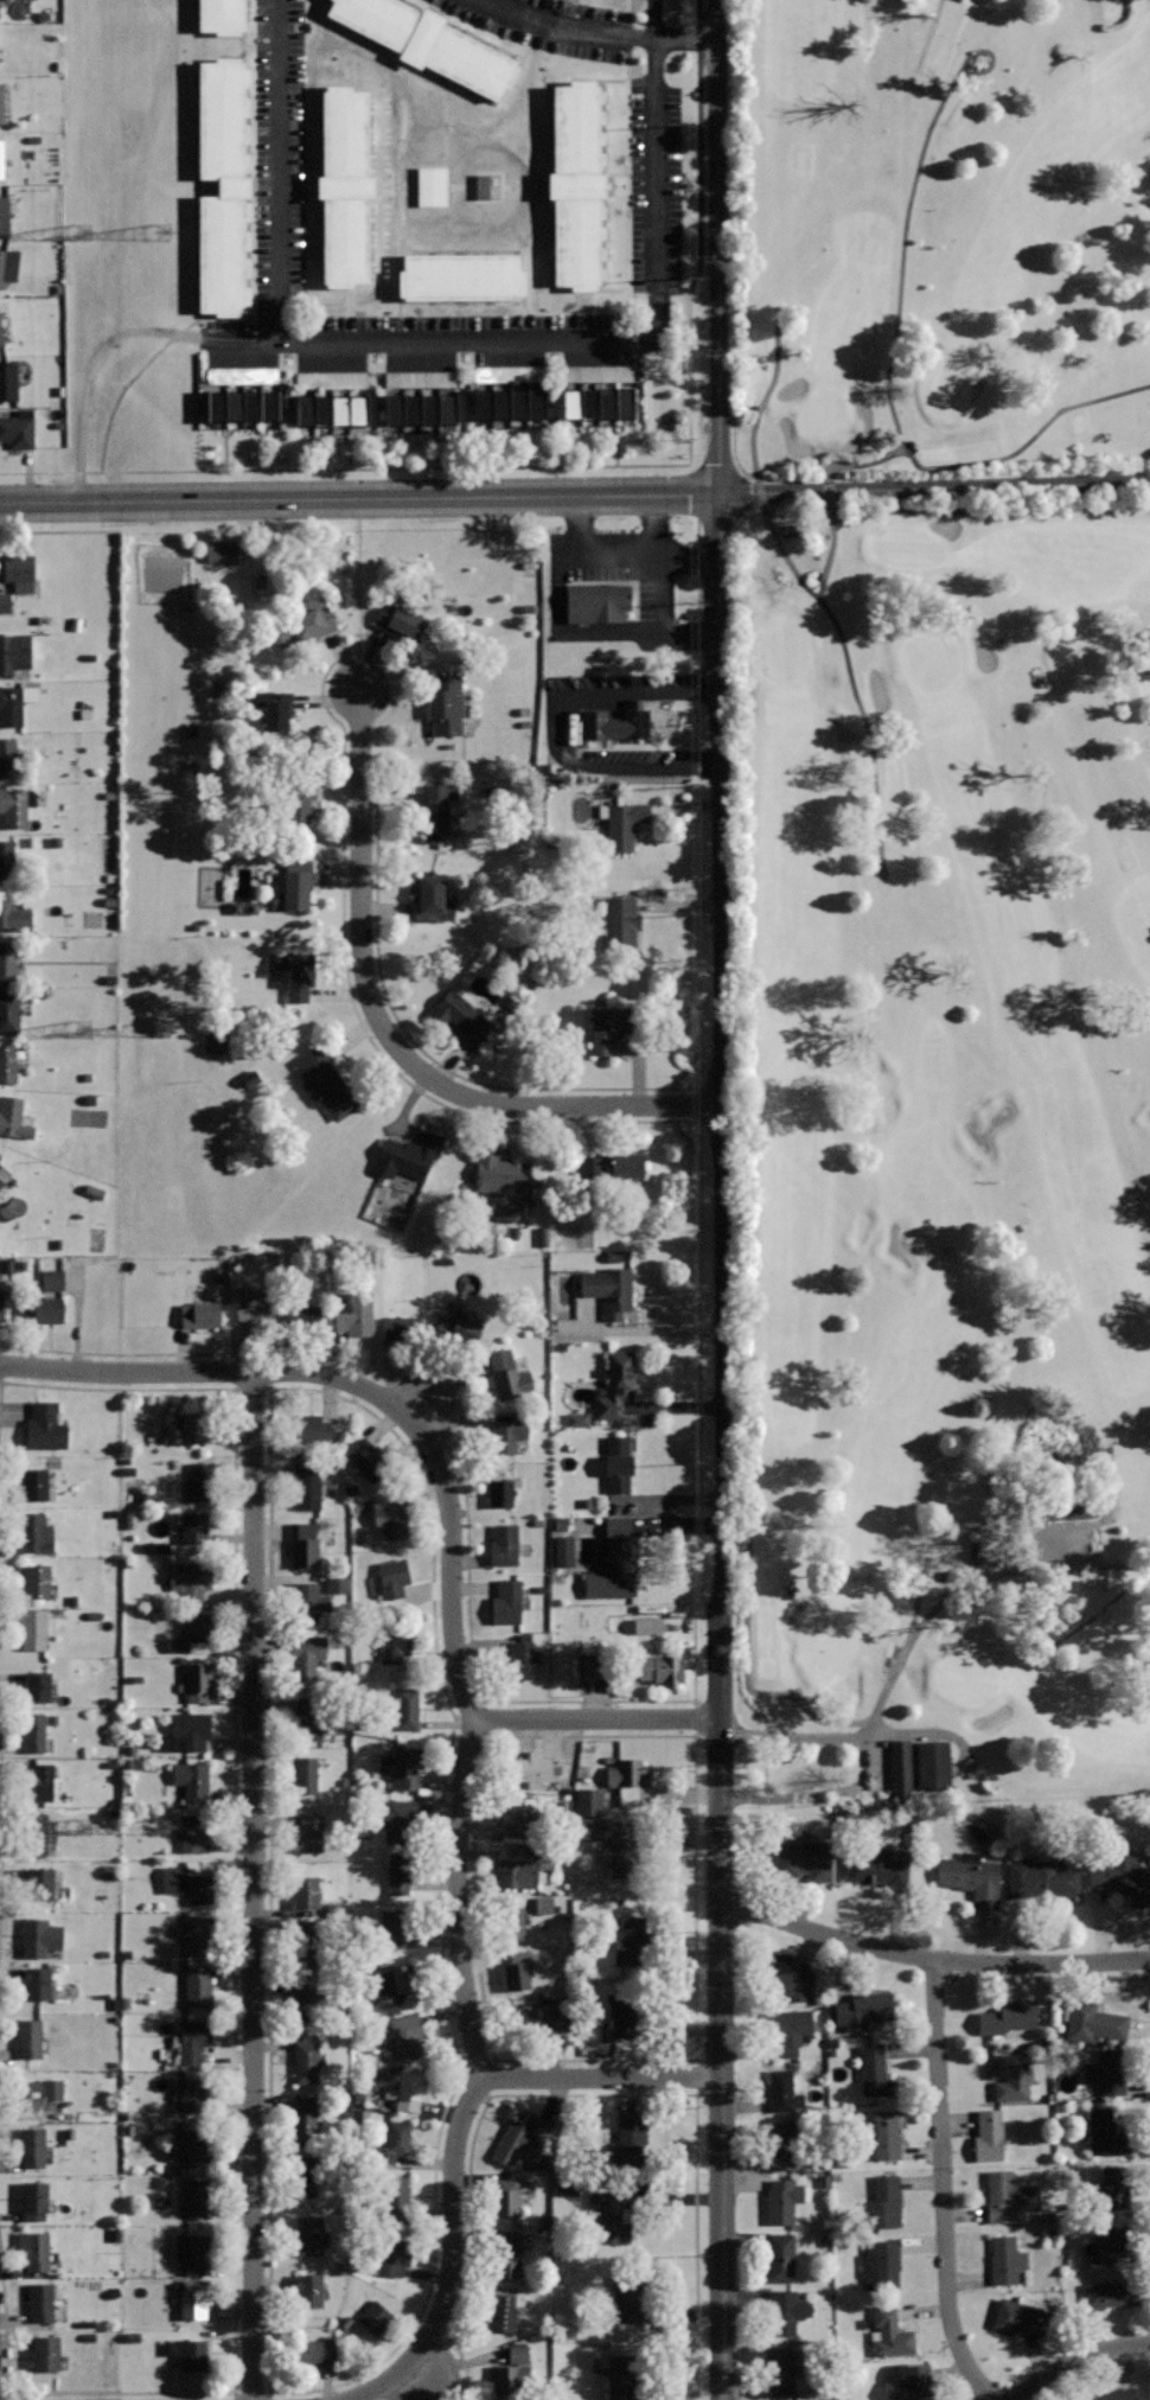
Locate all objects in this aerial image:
building: (223, 15)
building: (373, 18)
parking lot: (550, 25)
road: (596, 33)
building: (474, 65)
building: (1, 102)
building: (222, 117)
building: (574, 127)
building: (345, 132)
road: (699, 145)
parking lot: (280, 153)
building: (1, 158)
road: (280, 170)
building: (429, 186)
building: (486, 186)
parking lot: (654, 190)
building: (6, 217)
power tower: (158, 231)
power tower: (83, 232)
building: (346, 240)
building: (576, 243)
building: (222, 255)
building: (8, 263)
building: (465, 276)
building: (2, 332)
road: (458, 340)
building: (0, 344)
road: (155, 357)
building: (505, 374)
building: (595, 374)
building: (241, 375)
building: (417, 378)
building: (8, 379)
building: (330, 379)
road: (887, 390)
building: (571, 402)
building: (589, 402)
building: (607, 402)
building: (625, 402)
building: (484, 403)
building: (501, 403)
building: (519, 403)
building: (537, 403)
building: (217, 404)
building: (235, 406)
building: (253, 406)
building: (269, 406)
building: (395, 408)
building: (413, 408)
building: (429, 408)
building: (447, 408)
building: (305, 409)
building: (322, 409)
building: (340, 409)
building: (358, 409)
building: (17, 429)
road: (434, 468)
road: (935, 487)
road: (831, 496)
road: (360, 498)
road: (906, 511)
road: (58, 532)
building: (223, 551)
building: (17, 567)
road: (812, 587)
building: (598, 601)
building: (4, 602)
building: (307, 620)
building: (400, 623)
building: (13, 649)
building: (446, 704)
building: (11, 708)
building: (277, 709)
building: (618, 722)
road: (551, 730)
building: (14, 762)
building: (293, 800)
building: (17, 805)
building: (437, 805)
building: (624, 823)
building: (7, 858)
building: (296, 883)
park: (934, 892)
building: (429, 905)
building: (13, 914)
building: (620, 920)
building: (8, 964)
building: (300, 976)
building: (9, 1011)
building: (461, 1016)
building: (612, 1026)
power tower: (82, 1028)
power tower: (158, 1029)
road: (390, 1036)
building: (7, 1062)
building: (325, 1083)
road: (447, 1108)
building: (13, 1117)
building: (408, 1155)
building: (0, 1156)
building: (588, 1166)
building: (618, 1166)
building: (504, 1174)
building: (2, 1175)
road: (723, 1199)
building: (543, 1237)
building: (50, 1279)
building: (609, 1289)
building: (2, 1306)
building: (256, 1306)
building: (43, 1309)
building: (353, 1313)
building: (200, 1314)
building: (302, 1316)
building: (401, 1328)
building: (456, 1330)
building: (509, 1375)
building: (615, 1383)
road: (368, 1413)
road: (424, 1413)
building: (575, 1419)
building: (45, 1426)
building: (194, 1426)
building: (312, 1429)
building: (507, 1436)
building: (369, 1460)
building: (618, 1463)
road: (441, 1479)
building: (202, 1480)
building: (34, 1483)
building: (308, 1483)
building: (500, 1492)
building: (1056, 1512)
building: (391, 1515)
building: (129, 1519)
building: (194, 1525)
building: (37, 1533)
building: (304, 1543)
building: (505, 1545)
building: (561, 1550)
parking lot: (1031, 1550)
building: (611, 1560)
road: (1120, 1566)
building: (394, 1577)
building: (191, 1578)
building: (38, 1579)
road: (918, 1600)
building: (308, 1601)
building: (506, 1601)
building: (645, 1626)
building: (33, 1628)
building: (193, 1634)
building: (395, 1645)
building: (305, 1652)
building: (520, 1659)
building: (584, 1666)
building: (657, 1668)
building: (198, 1681)
building: (38, 1686)
building: (407, 1708)
building: (308, 1717)
road: (823, 1718)
building: (187, 1731)
road: (931, 1731)
building: (33, 1732)
road: (803, 1736)
road: (491, 1737)
road: (874, 1762)
building: (897, 1764)
building: (929, 1764)
building: (400, 1767)
building: (534, 1767)
building: (627, 1773)
building: (304, 1776)
building: (192, 1779)
building: (43, 1783)
building: (586, 1801)
building: (396, 1817)
building: (523, 1818)
power tower: (82, 1827)
power tower: (156, 1827)
building: (197, 1830)
building: (590, 1830)
building: (37, 1833)
building: (308, 1833)
building: (620, 1855)
building: (803, 1858)
building: (879, 1869)
building: (398, 1872)
building: (517, 1872)
building: (970, 1876)
building: (1124, 1876)
building: (1041, 1878)
building: (189, 1882)
building: (39, 1884)
road: (254, 1885)
building: (306, 1891)
road: (458, 1897)
building: (542, 1904)
building: (512, 1922)
building: (394, 1926)
building: (194, 1933)
building: (40, 1936)
building: (631, 1941)
road: (232, 1951)
building: (309, 1953)
building: (299, 1955)
road: (934, 1957)
building: (515, 1975)
building: (786, 1977)
building: (39, 1983)
building: (397, 1984)
building: (198, 1986)
building: (307, 2005)
building: (862, 2009)
building: (1007, 2016)
building: (624, 2017)
building: (537, 2018)
building: (1093, 2022)
building: (791, 2030)
building: (405, 2035)
building: (28, 2037)
building: (193, 2040)
building: (306, 2061)
building: (1109, 2070)
building: (875, 2072)
building: (1010, 2076)
building: (50, 2089)
building: (408, 2091)
building: (782, 2092)
road: (584, 2094)
building: (26, 2095)
building: (193, 2095)
building: (306, 2115)
building: (1105, 2132)
building: (886, 2134)
building: (990, 2134)
road: (456, 2139)
building: (522, 2139)
building: (392, 2142)
building: (782, 2144)
building: (31, 2146)
building: (190, 2146)
building: (630, 2147)
building: (302, 2178)
road: (943, 2184)
building: (566, 2187)
building: (1116, 2188)
building: (1005, 2195)
building: (198, 2197)
building: (505, 2197)
building: (395, 2198)
building: (34, 2200)
building: (784, 2200)
building: (884, 2201)
building: (612, 2219)
building: (308, 2235)
building: (1106, 2241)
building: (34, 2251)
building: (194, 2252)
building: (396, 2252)
building: (506, 2254)
building: (780, 2257)
building: (1004, 2258)
building: (881, 2264)
building: (309, 2290)
building: (628, 2293)
building: (1111, 2293)
building: (39, 2302)
building: (194, 2302)
building: (501, 2310)
building: (785, 2310)
building: (1022, 2315)
building: (375, 2318)
building: (889, 2331)
building: (190, 2353)
building: (314, 2353)
building: (46, 2354)
road: (1076, 2361)
building: (780, 2372)
road: (415, 2373)
building: (625, 2373)
building: (511, 2380)
building: (907, 2382)
building: (1149, 2393)
building: (1114, 2394)

